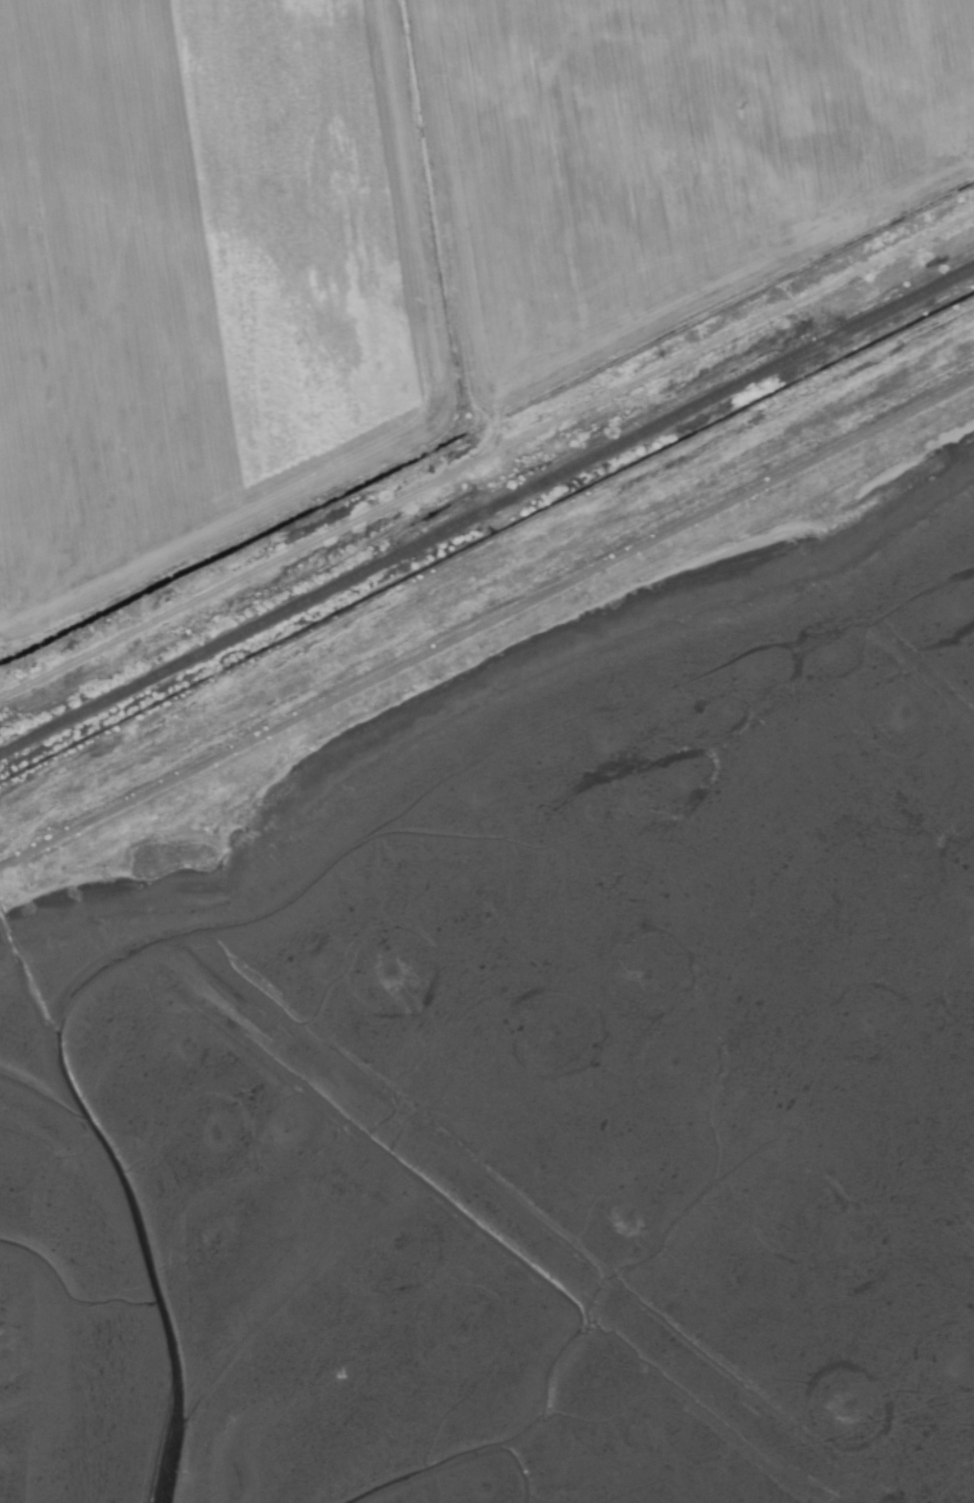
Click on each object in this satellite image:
railway: (487, 511)
road: (486, 623)

